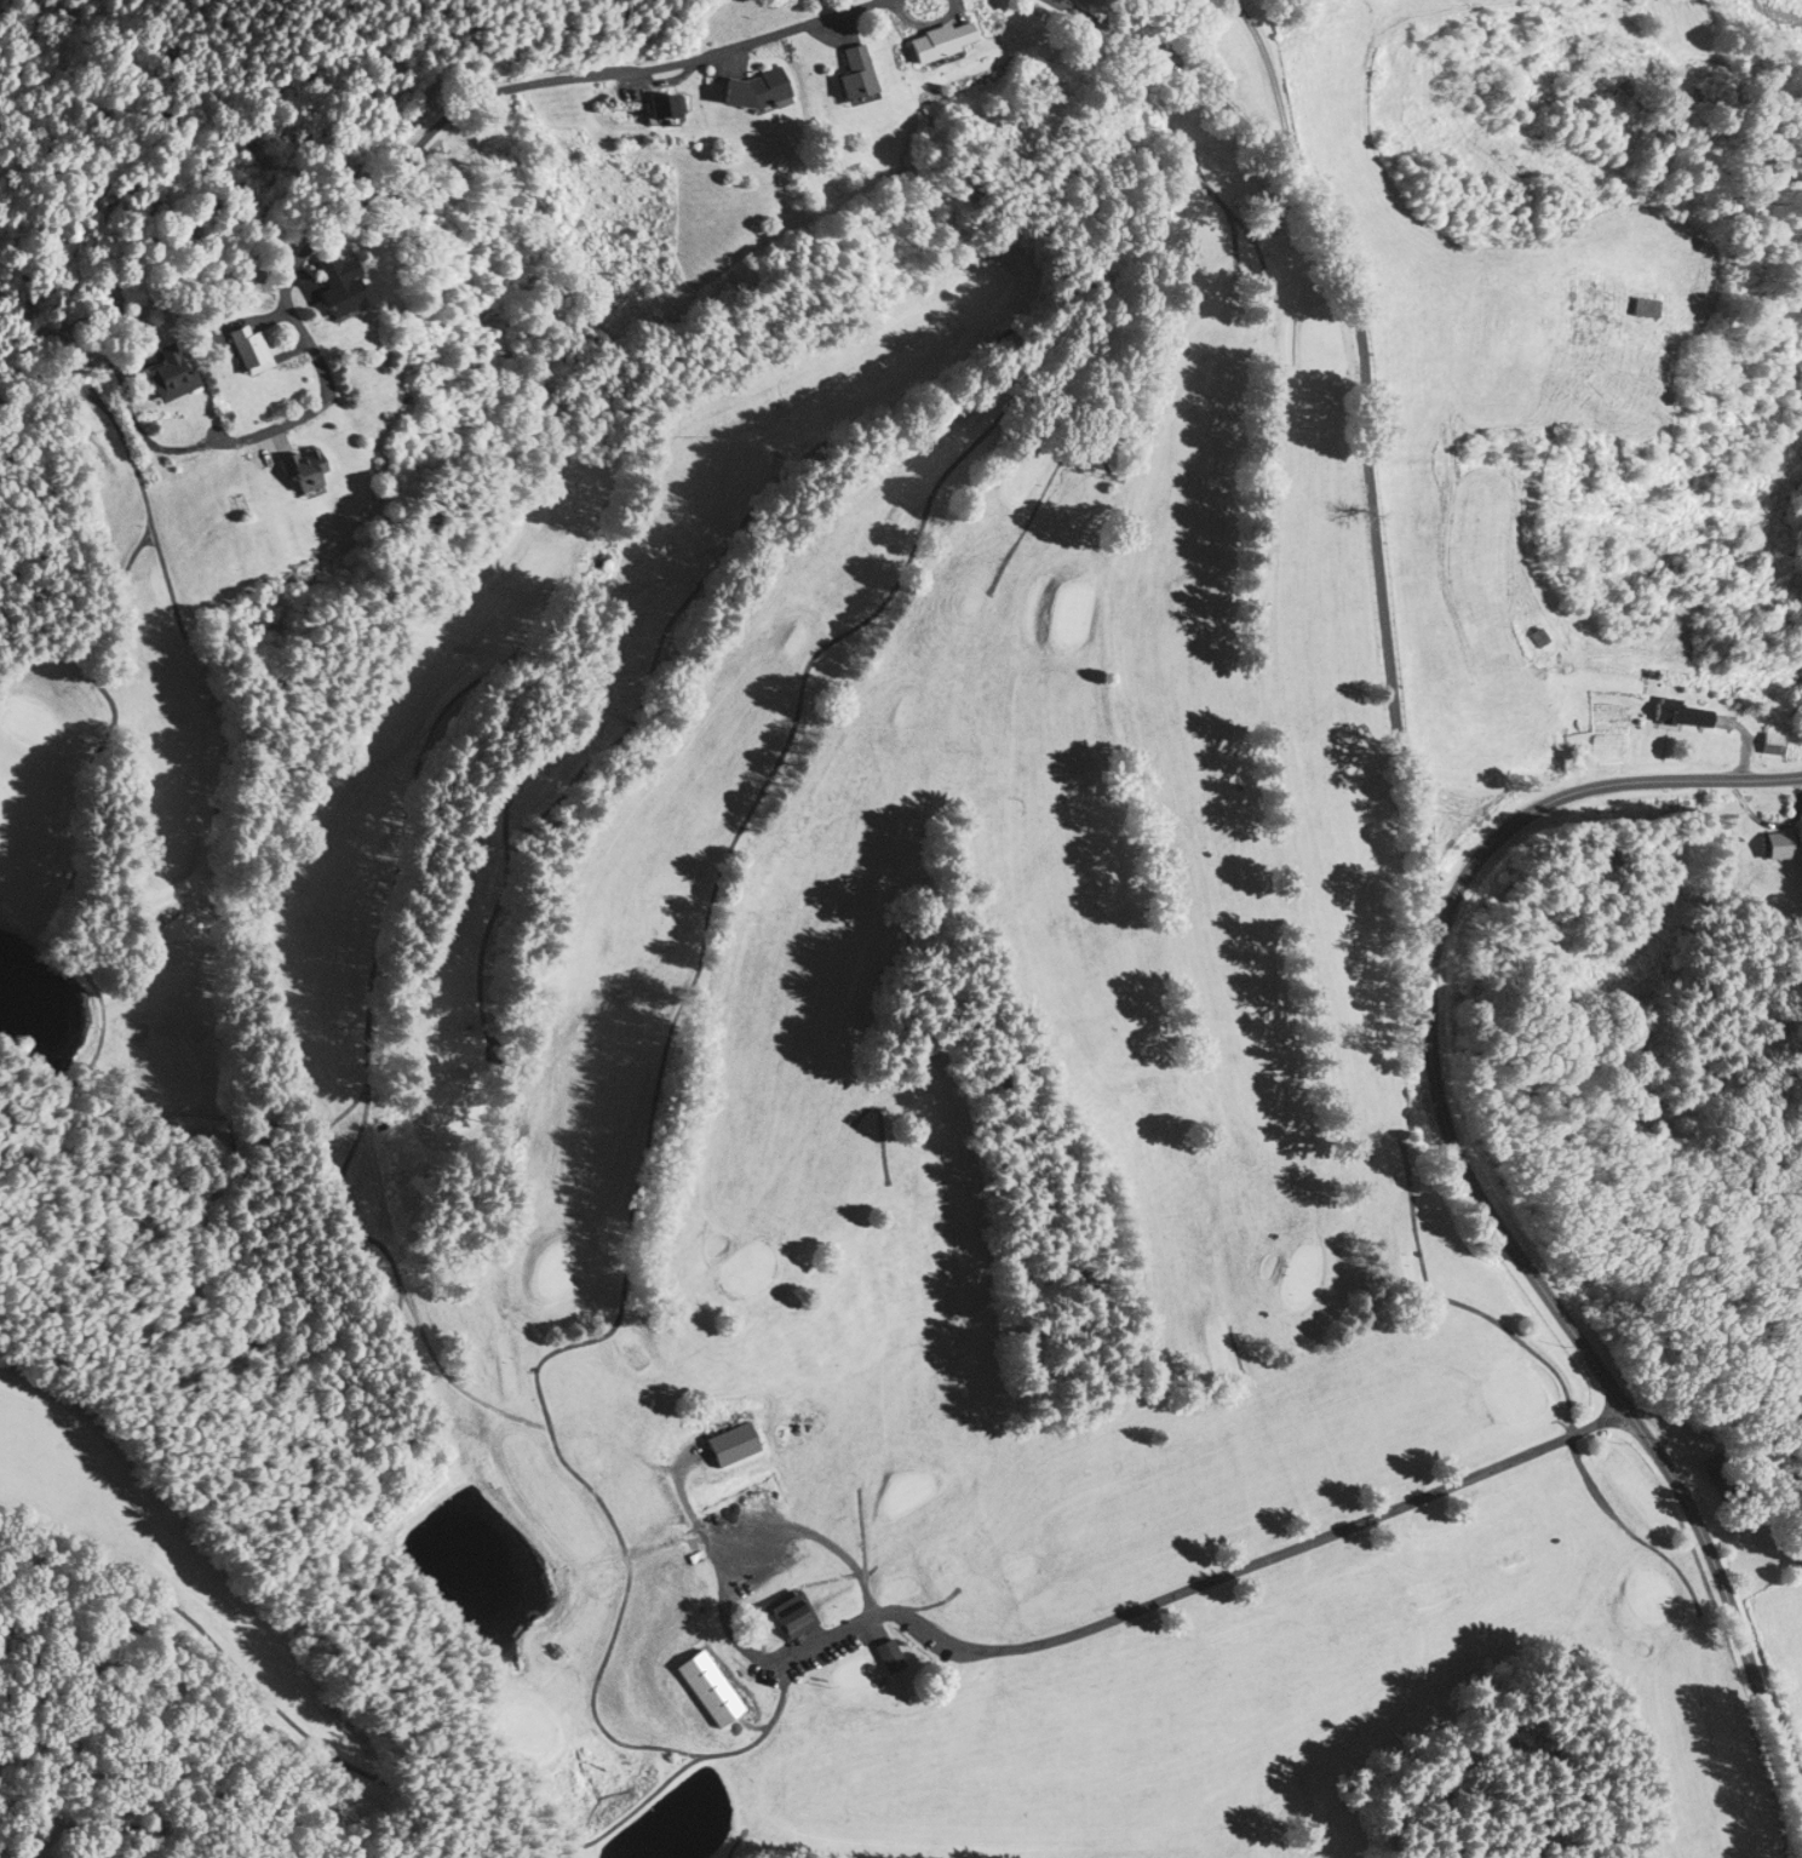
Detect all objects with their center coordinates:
building: (939, 38)
building: (853, 69)
road: (1269, 84)
building: (756, 87)
building: (658, 103)
road: (431, 126)
building: (344, 281)
building: (1648, 308)
building: (251, 348)
building: (174, 374)
road: (1362, 406)
road: (144, 440)
building: (305, 465)
building: (1539, 637)
building: (1678, 710)
building: (1766, 740)
building: (1778, 843)
park: (817, 1097)
road: (1463, 1186)
road: (1550, 1365)
building: (730, 1443)
building: (1721, 1475)
road: (1252, 1561)
building: (790, 1612)
road: (725, 1613)
building: (888, 1652)
building: (706, 1686)

